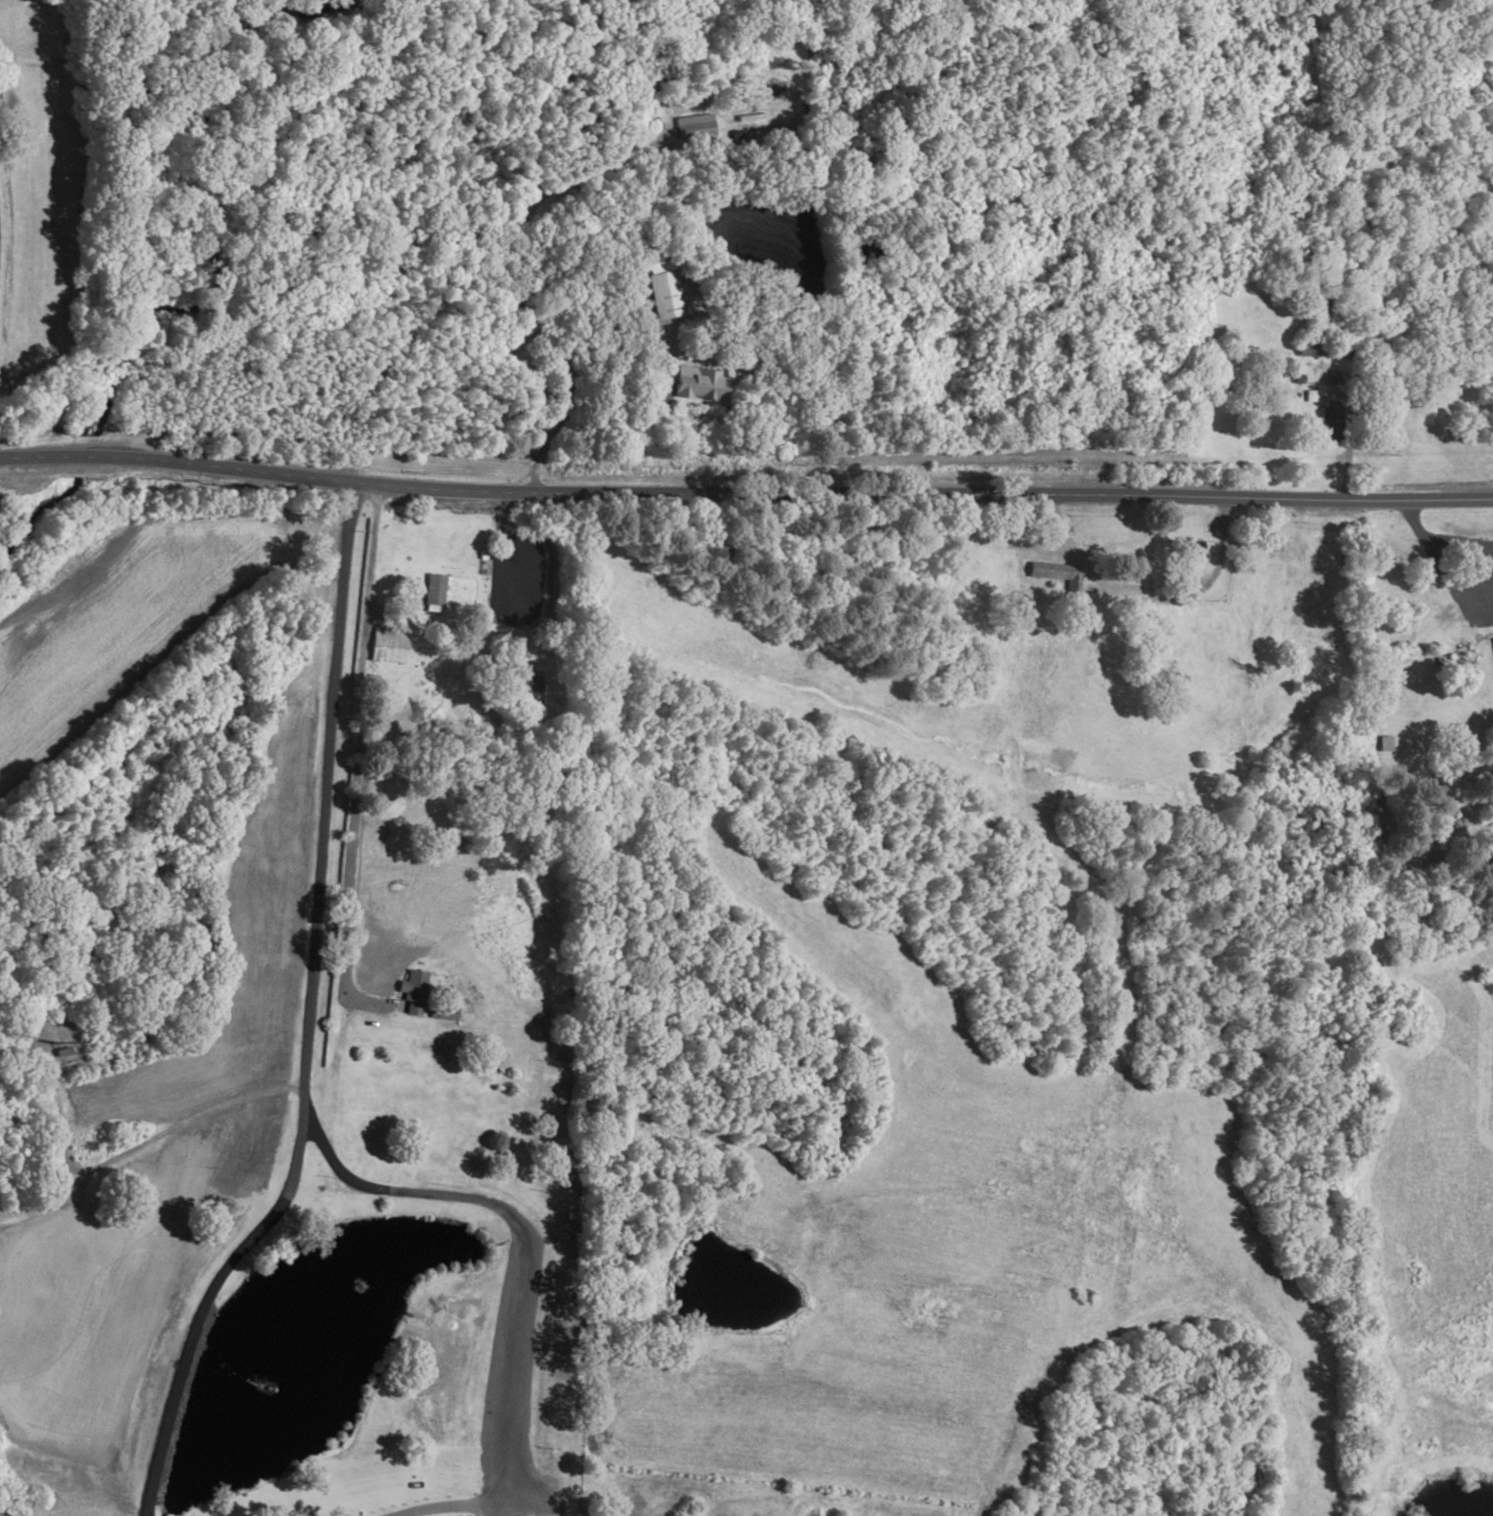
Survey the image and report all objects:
road: (534, 103)
building: (694, 130)
building: (753, 137)
road: (574, 282)
road: (510, 287)
building: (668, 295)
building: (1318, 336)
building: (1331, 379)
building: (1352, 379)
building: (698, 384)
building: (664, 411)
building: (1328, 423)
road: (1348, 450)
road: (26, 457)
road: (80, 457)
road: (799, 494)
road: (1420, 533)
building: (1187, 551)
road: (1471, 551)
building: (1058, 573)
road: (1483, 586)
building: (434, 589)
road: (1068, 603)
building: (387, 644)
building: (1491, 645)
building: (1334, 649)
building: (1163, 679)
road: (1476, 685)
building: (531, 690)
building: (1382, 745)
building: (408, 812)
building: (440, 875)
building: (412, 990)
building: (442, 1016)
road: (306, 1018)
building: (420, 1038)
road: (331, 1077)
road: (137, 1144)
building: (520, 1409)
road: (520, 1504)
road: (438, 1507)
road: (484, 1509)
building: (525, 1515)

